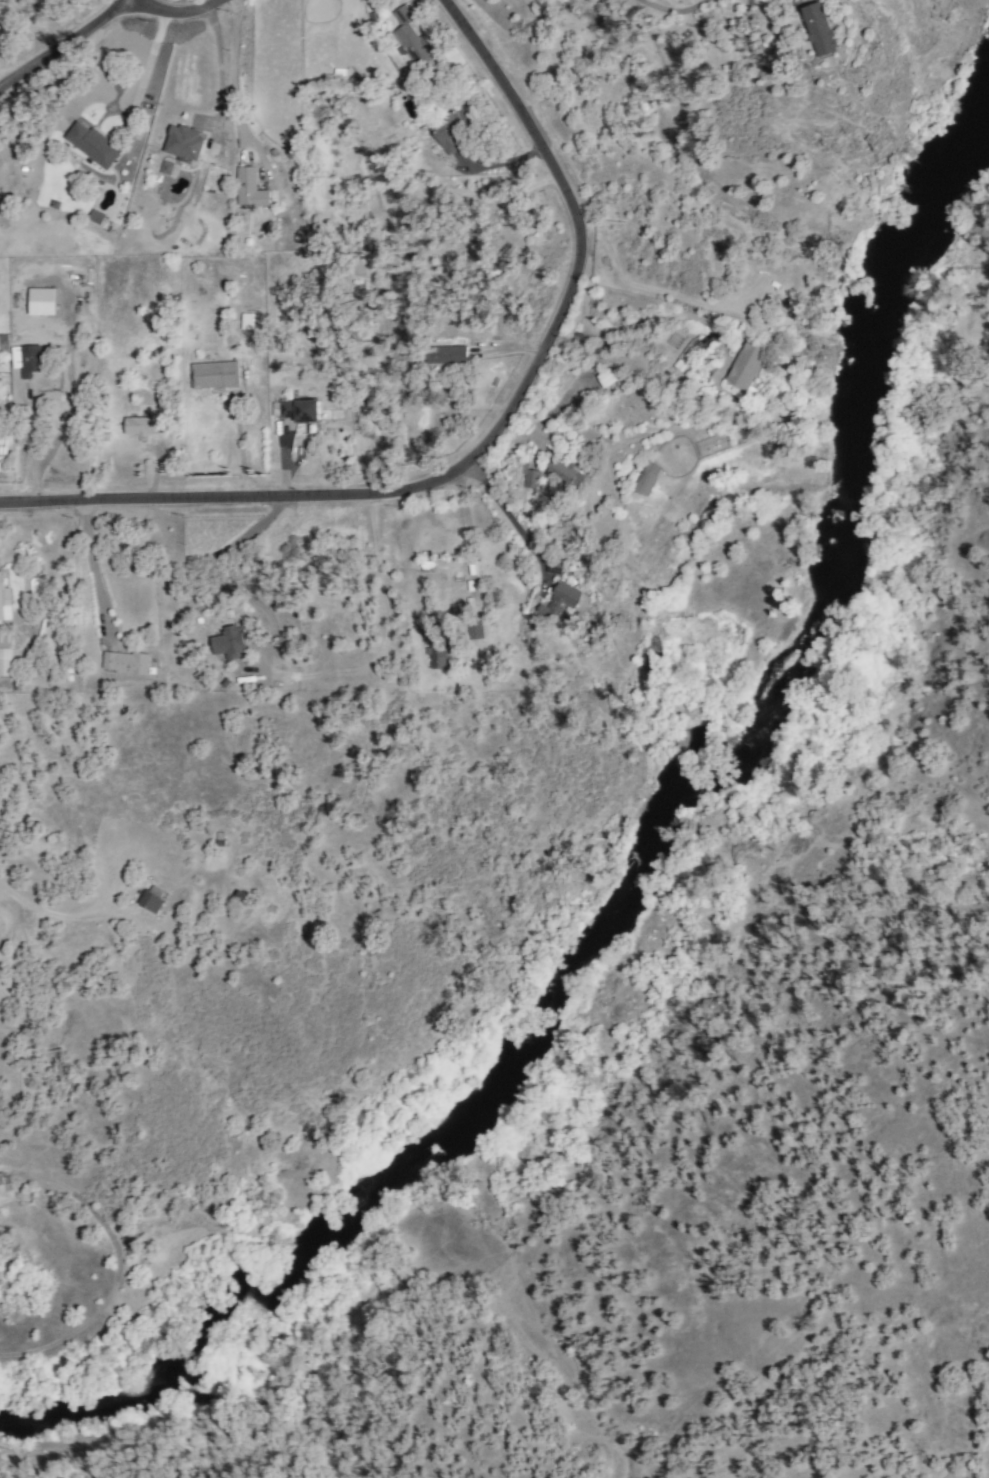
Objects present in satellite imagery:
road: (673, 10)
road: (176, 13)
building: (822, 30)
building: (412, 38)
road: (65, 47)
road: (156, 66)
building: (858, 74)
road: (233, 78)
road: (217, 89)
building: (454, 129)
building: (186, 144)
building: (94, 145)
building: (164, 168)
building: (251, 189)
building: (94, 217)
building: (249, 320)
road: (636, 322)
building: (447, 355)
building: (31, 361)
building: (748, 363)
building: (216, 376)
building: (608, 378)
building: (300, 411)
building: (144, 427)
road: (489, 443)
road: (29, 445)
road: (239, 445)
building: (567, 474)
building: (531, 479)
building: (647, 479)
road: (506, 517)
road: (468, 534)
road: (90, 567)
building: (557, 567)
road: (213, 577)
building: (2, 593)
building: (567, 601)
building: (477, 629)
building: (230, 644)
building: (439, 654)
building: (5, 663)
building: (126, 663)
river: (651, 852)
building: (152, 899)
road: (55, 906)
building: (3, 1185)

